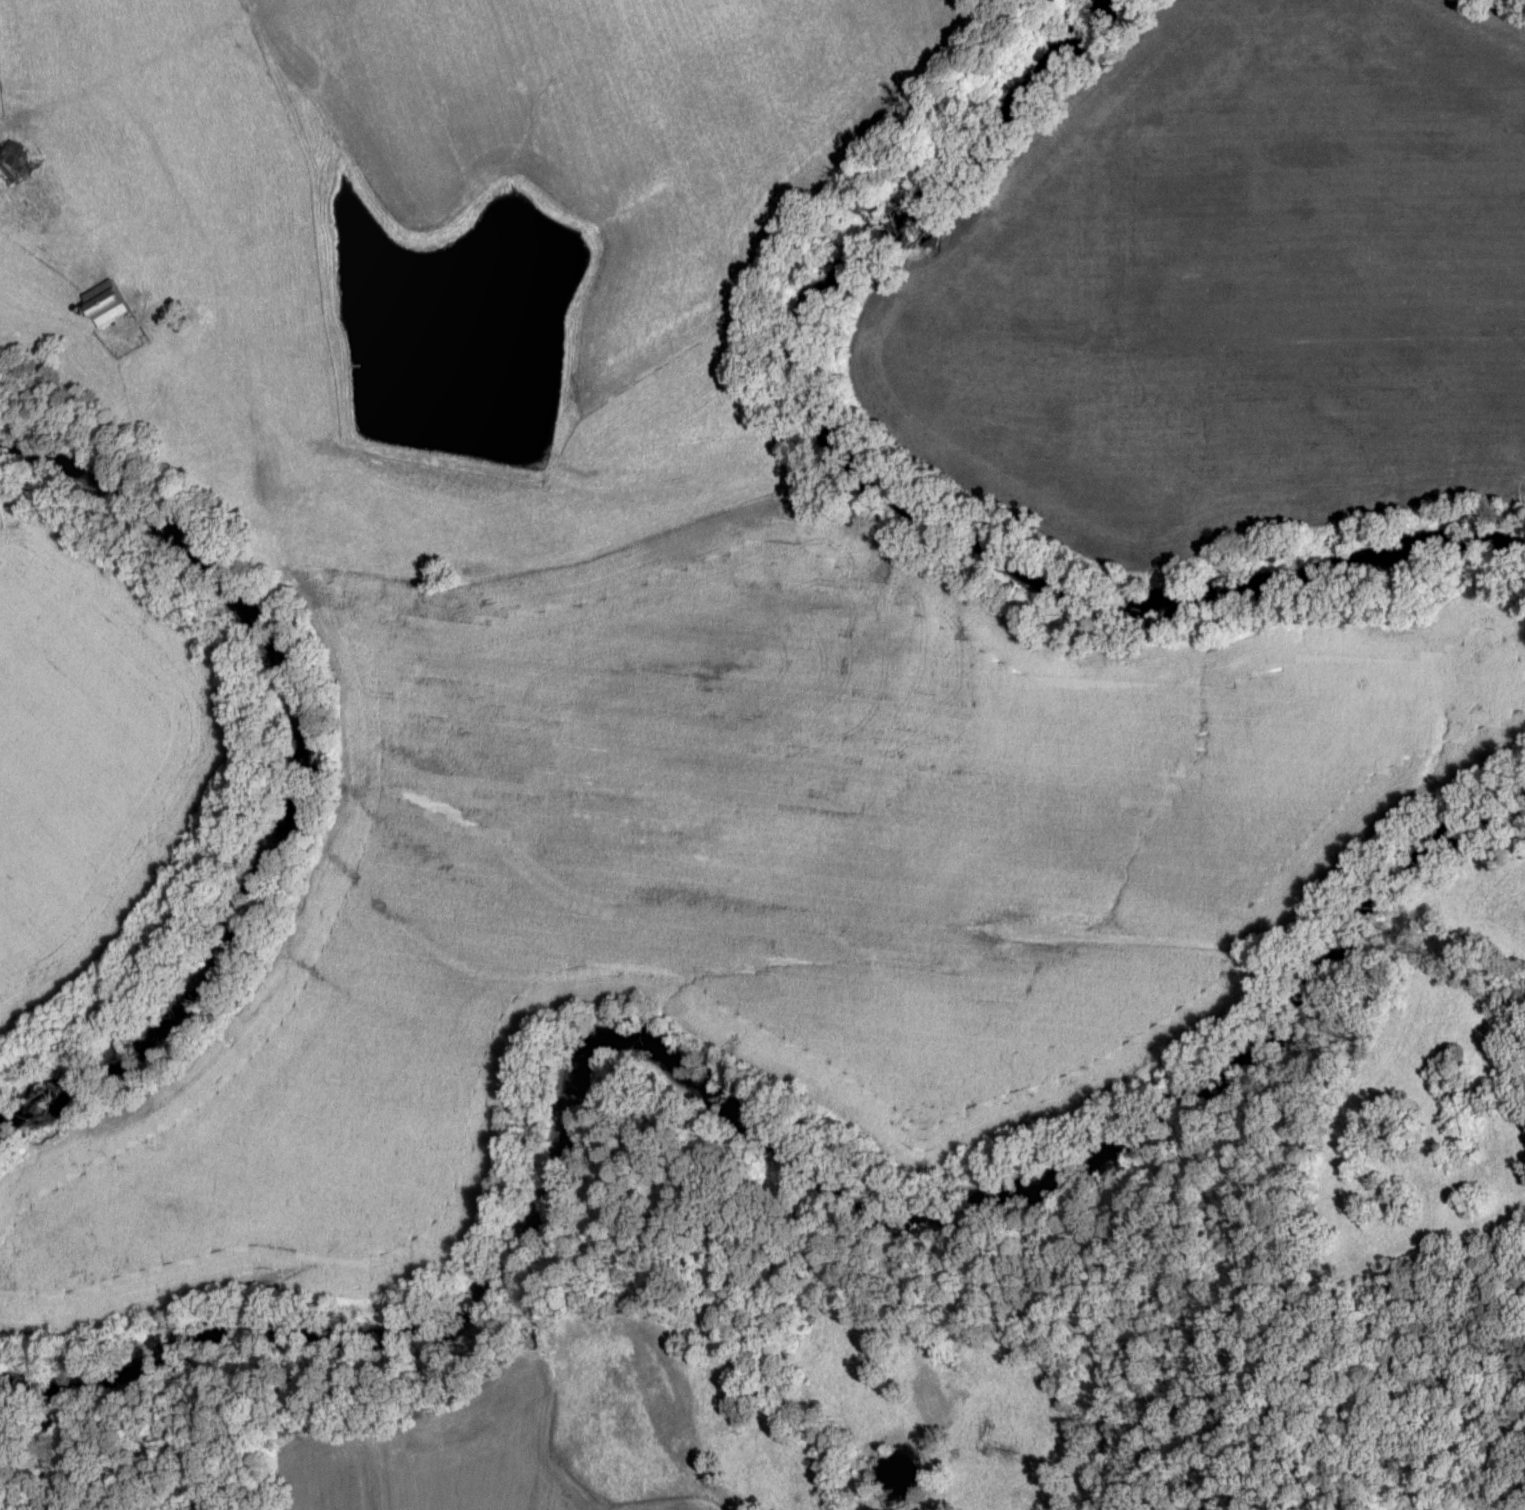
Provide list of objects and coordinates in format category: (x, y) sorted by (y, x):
building: (8, 171)
building: (104, 305)
river: (910, 490)
river: (277, 769)
river: (733, 1111)

